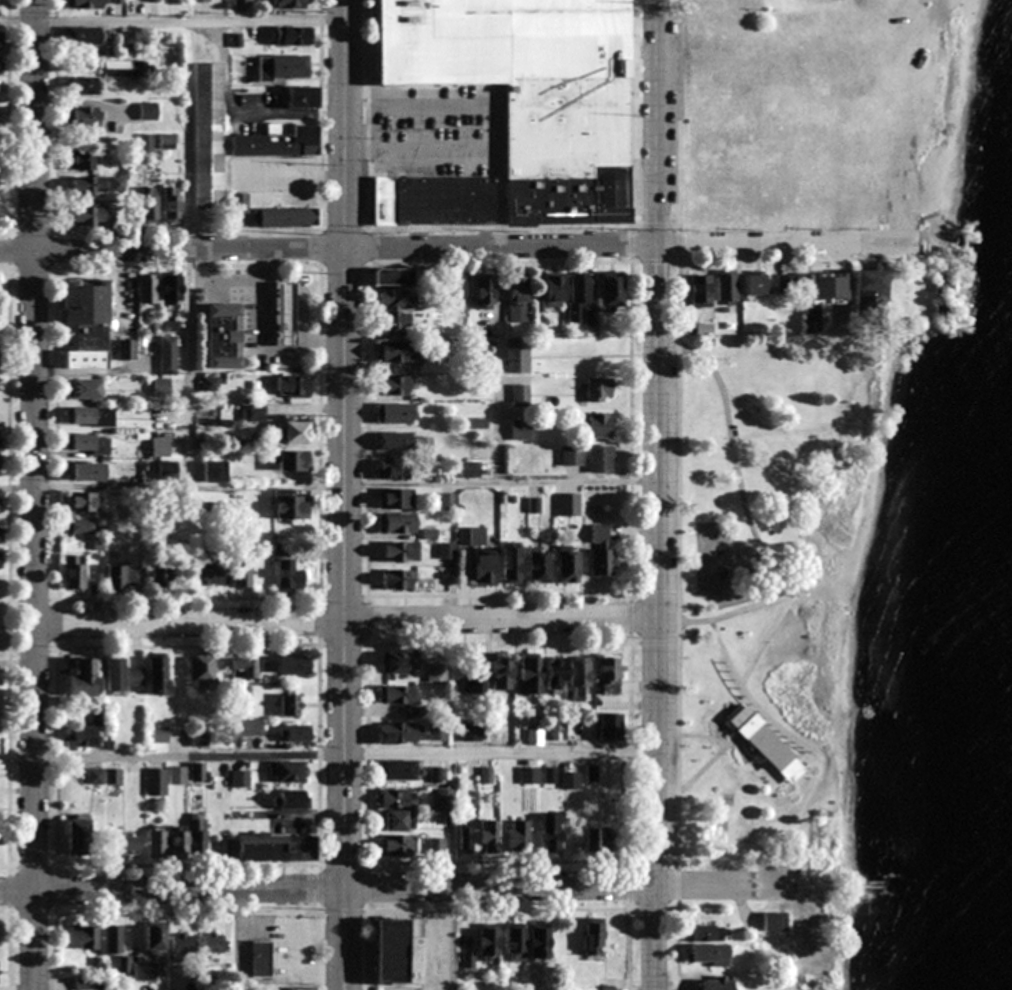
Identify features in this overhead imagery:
building: (200, 0)
building: (241, 2)
building: (86, 4)
building: (291, 4)
road: (172, 24)
building: (81, 35)
building: (293, 35)
building: (1, 40)
building: (0, 65)
building: (282, 67)
building: (125, 68)
building: (85, 85)
building: (532, 90)
building: (301, 97)
building: (148, 111)
building: (83, 116)
park: (964, 124)
building: (209, 135)
building: (168, 141)
building: (277, 141)
building: (81, 160)
building: (117, 184)
building: (87, 185)
building: (431, 202)
building: (239, 203)
building: (149, 204)
building: (172, 204)
building: (89, 216)
building: (284, 217)
road: (454, 246)
building: (392, 276)
building: (784, 281)
building: (755, 282)
building: (942, 284)
building: (825, 285)
building: (724, 287)
building: (455, 288)
building: (147, 289)
building: (171, 289)
building: (554, 289)
building: (609, 289)
building: (483, 290)
building: (698, 290)
building: (867, 290)
road: (500, 291)
building: (126, 293)
building: (577, 296)
building: (517, 297)
building: (396, 299)
building: (285, 314)
building: (394, 319)
building: (810, 319)
building: (84, 323)
building: (224, 336)
building: (480, 348)
building: (126, 349)
building: (395, 351)
building: (168, 355)
building: (515, 355)
road: (140, 361)
road: (185, 367)
building: (394, 385)
building: (293, 386)
building: (162, 388)
building: (84, 389)
building: (597, 390)
building: (0, 391)
building: (520, 395)
building: (396, 412)
building: (253, 413)
building: (90, 416)
building: (598, 425)
building: (520, 429)
building: (294, 432)
building: (405, 442)
building: (87, 443)
building: (571, 456)
building: (600, 458)
road: (731, 460)
building: (291, 461)
building: (168, 469)
building: (392, 469)
building: (86, 471)
building: (215, 471)
road: (342, 487)
road: (33, 494)
road: (652, 494)
road: (343, 495)
building: (396, 498)
building: (80, 502)
building: (290, 505)
building: (569, 508)
building: (398, 523)
building: (82, 526)
building: (0, 536)
building: (471, 536)
building: (400, 551)
building: (447, 551)
building: (601, 551)
building: (0, 560)
building: (510, 565)
building: (538, 565)
building: (567, 566)
building: (484, 567)
building: (287, 570)
building: (74, 572)
building: (240, 572)
building: (208, 574)
building: (163, 576)
building: (120, 577)
building: (398, 579)
road: (722, 610)
road: (343, 620)
road: (761, 639)
road: (16, 661)
building: (397, 662)
building: (292, 665)
building: (243, 667)
building: (201, 668)
building: (436, 672)
building: (114, 673)
building: (501, 673)
building: (529, 673)
building: (555, 673)
building: (81, 674)
building: (158, 674)
building: (475, 675)
building: (608, 676)
building: (134, 677)
building: (578, 677)
building: (398, 694)
building: (290, 705)
building: (609, 726)
building: (250, 727)
building: (470, 731)
building: (399, 732)
building: (550, 732)
building: (295, 733)
road: (690, 734)
building: (160, 735)
building: (81, 736)
building: (534, 737)
building: (200, 740)
road: (802, 741)
building: (764, 743)
road: (343, 753)
building: (398, 769)
building: (198, 771)
building: (288, 771)
road: (693, 774)
building: (178, 775)
building: (528, 775)
building: (569, 780)
building: (157, 782)
building: (397, 798)
building: (292, 799)
building: (399, 820)
building: (551, 832)
building: (78, 834)
building: (517, 834)
building: (199, 836)
building: (468, 836)
building: (489, 836)
building: (600, 840)
building: (157, 841)
building: (122, 842)
building: (179, 844)
building: (397, 845)
building: (436, 846)
building: (261, 848)
road: (395, 889)
building: (774, 921)
building: (705, 933)
building: (156, 936)
building: (82, 937)
building: (593, 938)
building: (113, 939)
building: (487, 941)
building: (213, 942)
building: (515, 942)
building: (538, 942)
building: (182, 943)
building: (389, 951)
building: (707, 954)
building: (261, 958)
building: (145, 971)
building: (303, 988)

